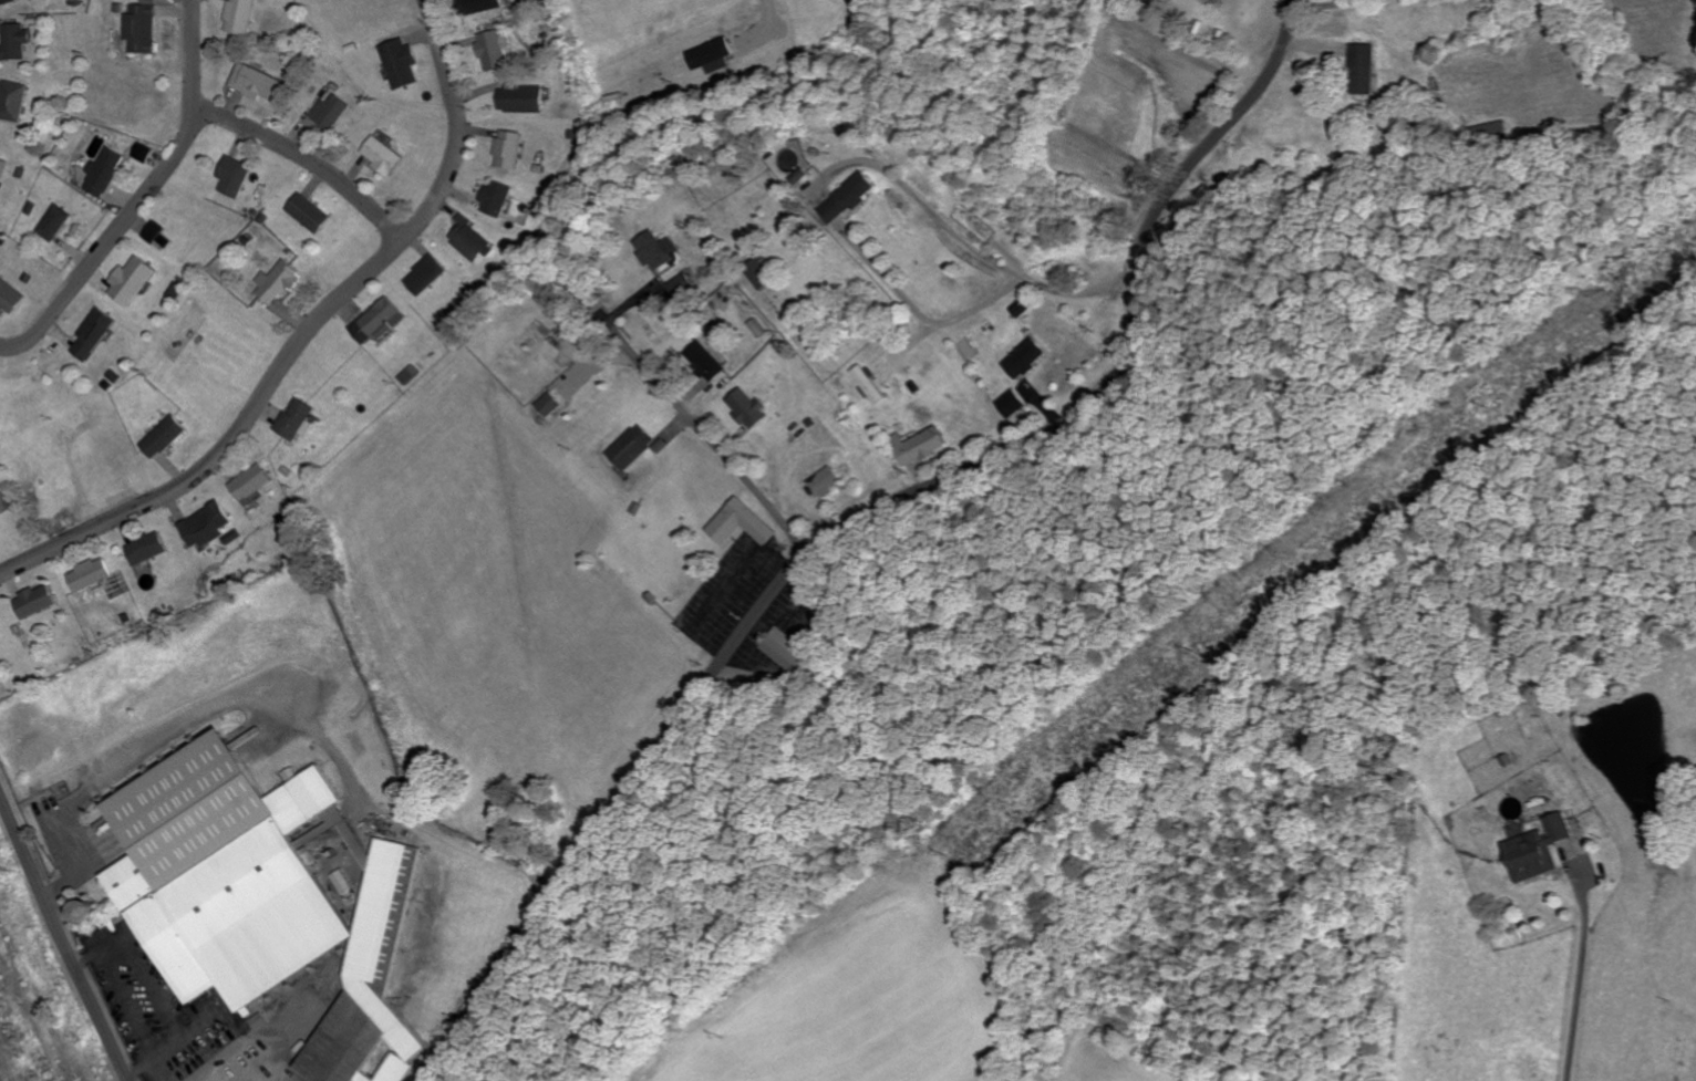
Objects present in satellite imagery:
building: (8, 2)
building: (480, 7)
building: (241, 18)
building: (142, 28)
building: (15, 42)
building: (493, 51)
road: (190, 53)
building: (711, 54)
building: (402, 64)
building: (1367, 71)
building: (257, 84)
building: (523, 101)
building: (13, 102)
building: (332, 113)
road: (455, 125)
building: (509, 150)
building: (143, 153)
road: (307, 156)
building: (384, 157)
building: (3, 170)
building: (103, 173)
building: (235, 178)
building: (496, 199)
building: (851, 199)
building: (310, 214)
building: (54, 224)
building: (154, 232)
road: (108, 238)
building: (470, 241)
building: (656, 251)
road: (872, 262)
building: (426, 277)
building: (133, 282)
building: (280, 285)
building: (683, 287)
road: (1073, 290)
building: (10, 298)
building: (379, 323)
building: (95, 335)
building: (1030, 358)
building: (709, 362)
building: (871, 385)
building: (1015, 404)
building: (550, 406)
building: (749, 408)
building: (298, 419)
building: (166, 437)
road: (706, 437)
road: (229, 440)
building: (922, 446)
building: (632, 447)
building: (830, 482)
building: (254, 484)
road: (869, 518)
building: (744, 523)
building: (208, 524)
building: (149, 548)
building: (72, 563)
building: (91, 574)
building: (35, 601)
building: (794, 651)
building: (1541, 849)
building: (265, 903)
building: (85, 912)
road: (64, 937)
road: (1581, 976)

